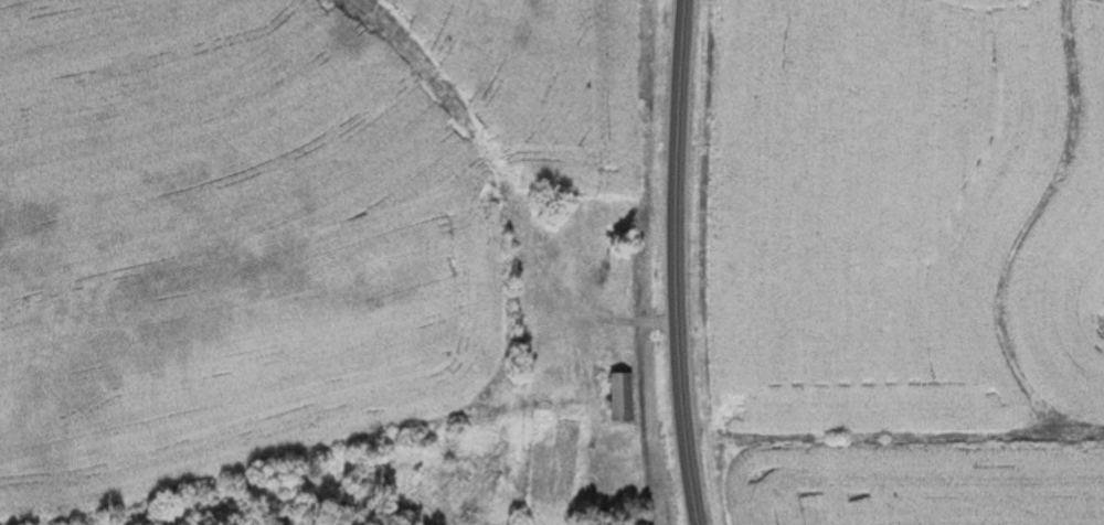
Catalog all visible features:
road: (672, 262)
building: (615, 399)

